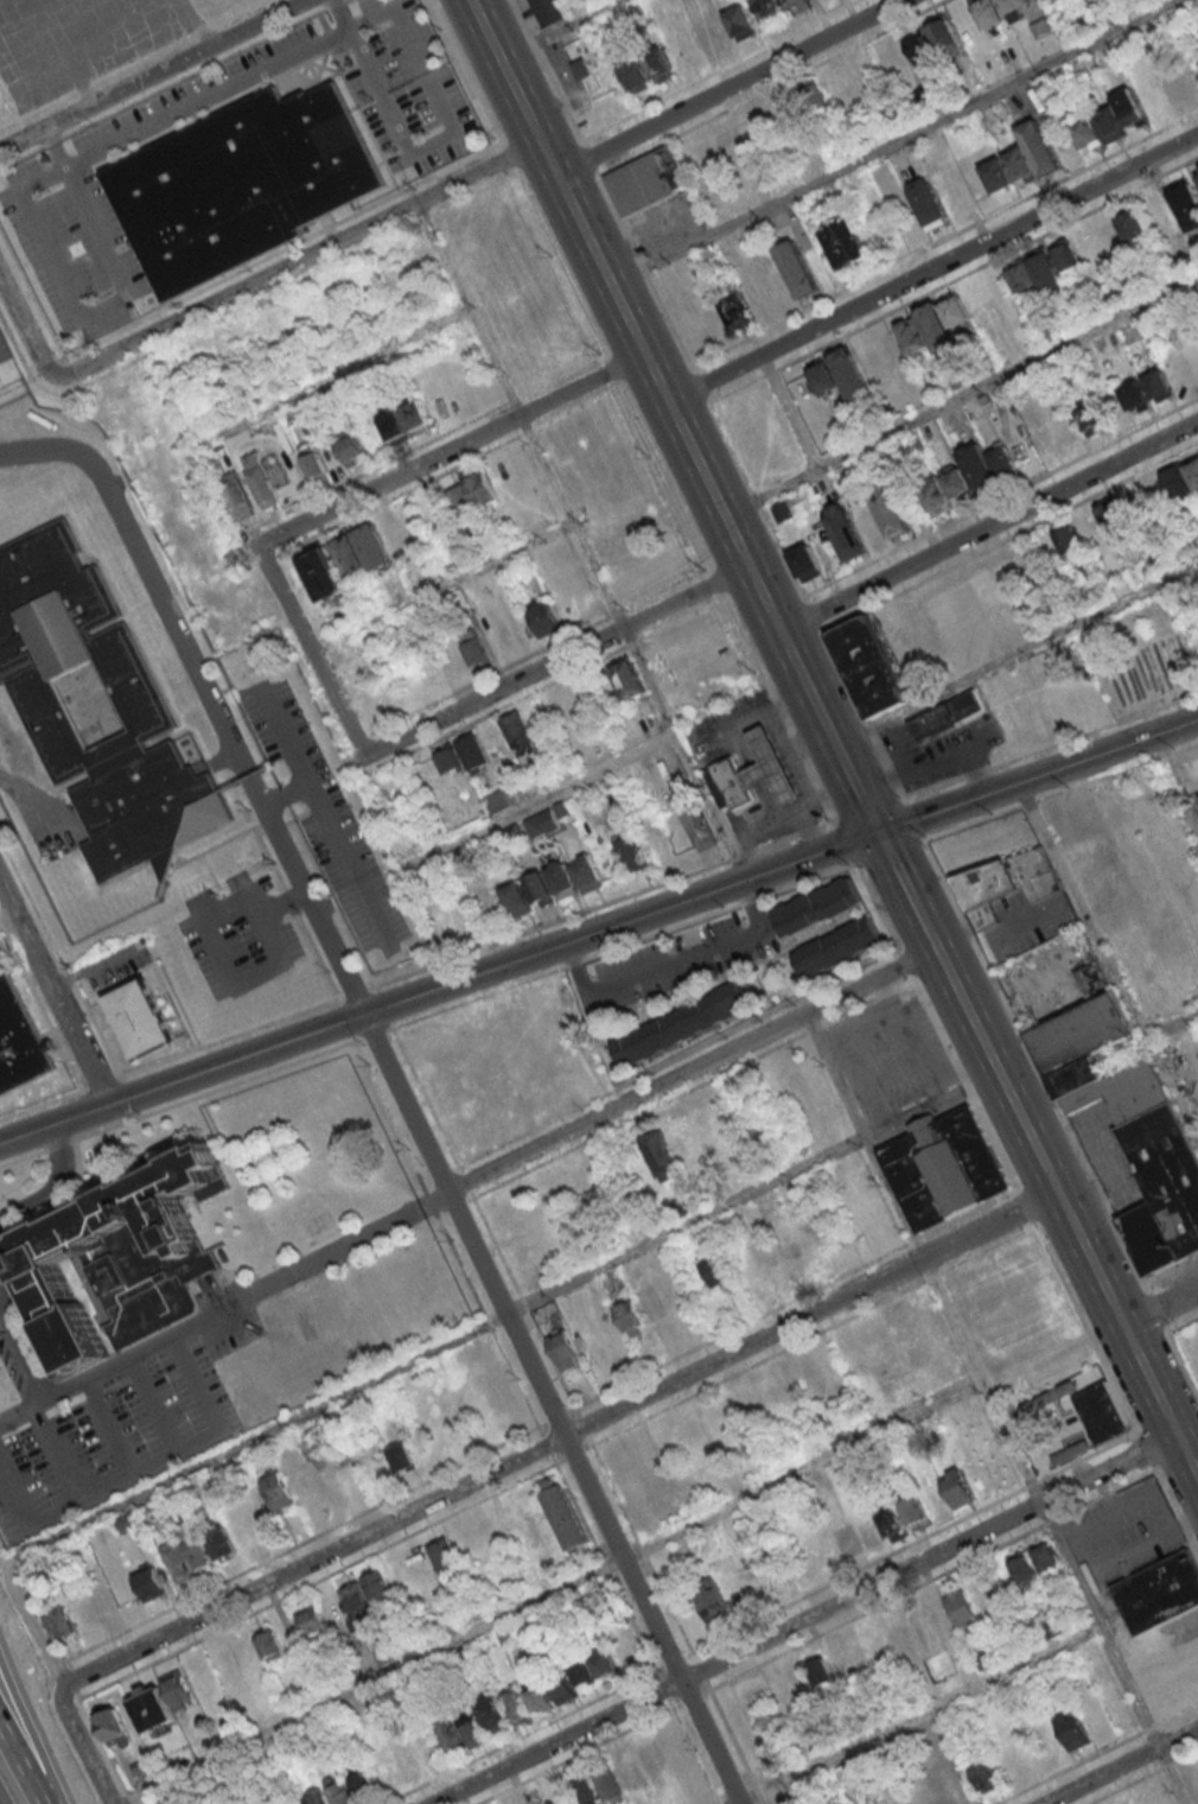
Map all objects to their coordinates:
building: (1052, 1)
building: (779, 7)
building: (1013, 8)
building: (549, 11)
building: (988, 13)
building: (741, 21)
road: (554, 28)
building: (943, 34)
building: (709, 38)
building: (920, 49)
building: (658, 65)
building: (581, 69)
building: (635, 72)
road: (152, 75)
road: (732, 89)
building: (1173, 90)
road: (223, 91)
building: (925, 93)
building: (815, 96)
building: (1109, 121)
building: (731, 140)
road: (892, 142)
building: (1021, 159)
building: (1197, 172)
building: (648, 180)
building: (238, 182)
building: (928, 203)
road: (87, 209)
building: (1121, 233)
building: (845, 241)
road: (298, 258)
building: (1068, 258)
building: (797, 268)
road: (936, 273)
building: (1035, 273)
building: (737, 312)
building: (943, 319)
building: (713, 322)
road: (28, 325)
building: (901, 343)
road: (350, 371)
building: (848, 371)
road: (658, 380)
building: (1158, 386)
road: (963, 395)
building: (1135, 398)
building: (415, 413)
building: (1090, 417)
building: (395, 425)
building: (1058, 434)
building: (351, 450)
building: (313, 462)
building: (988, 464)
road: (400, 474)
building: (1181, 479)
building: (956, 482)
building: (262, 485)
building: (479, 487)
building: (236, 495)
building: (936, 496)
building: (460, 502)
building: (783, 510)
building: (890, 510)
building: (1126, 515)
road: (992, 528)
building: (855, 531)
building: (1079, 534)
road: (581, 539)
building: (361, 550)
building: (807, 563)
building: (321, 573)
road: (147, 578)
road: (441, 583)
building: (543, 616)
building: (916, 617)
building: (897, 636)
building: (474, 646)
road: (1018, 655)
road: (758, 663)
building: (869, 666)
building: (630, 679)
road: (505, 686)
building: (561, 707)
building: (100, 709)
building: (950, 718)
building: (517, 731)
building: (464, 755)
building: (776, 770)
road: (1039, 776)
road: (1175, 783)
building: (733, 787)
road: (550, 795)
road: (289, 796)
road: (862, 798)
building: (499, 800)
road: (318, 808)
road: (867, 809)
road: (298, 817)
parking lot: (330, 818)
road: (333, 819)
road: (916, 820)
road: (265, 821)
building: (543, 822)
road: (280, 825)
building: (700, 825)
traffic signals: (880, 833)
road: (221, 843)
road: (842, 844)
building: (632, 852)
road: (893, 857)
road: (270, 858)
road: (899, 872)
building: (588, 874)
road: (212, 875)
building: (562, 879)
building: (1005, 883)
building: (541, 889)
road: (291, 900)
building: (517, 900)
road: (32, 901)
road: (227, 901)
road: (282, 903)
road: (604, 904)
road: (878, 904)
building: (822, 910)
road: (8, 917)
road: (1020, 921)
parking lot: (1026, 921)
road: (2, 925)
road: (950, 927)
road: (208, 929)
road: (268, 929)
parking lot: (236, 936)
road: (624, 947)
building: (839, 947)
road: (319, 957)
road: (1109, 961)
parking lot: (680, 963)
road: (97, 971)
road: (157, 972)
road: (262, 974)
road: (71, 976)
road: (84, 976)
road: (371, 985)
road: (89, 986)
road: (377, 987)
road: (440, 989)
road: (53, 990)
road: (356, 992)
road: (385, 1006)
road: (45, 1010)
building: (142, 1017)
road: (349, 1019)
building: (688, 1022)
road: (393, 1025)
road: (1172, 1025)
road: (390, 1028)
road: (100, 1029)
building: (1081, 1031)
road: (376, 1033)
road: (231, 1037)
road: (357, 1037)
road: (362, 1038)
building: (21, 1044)
road: (680, 1075)
building: (1077, 1075)
road: (102, 1081)
road: (215, 1090)
building: (1127, 1094)
road: (44, 1104)
road: (1062, 1118)
road: (59, 1144)
building: (662, 1155)
road: (23, 1157)
building: (948, 1173)
road: (62, 1181)
building: (1164, 1192)
road: (1058, 1196)
road: (60, 1199)
building: (684, 1205)
road: (6, 1218)
road: (1049, 1251)
building: (125, 1260)
road: (299, 1271)
building: (715, 1271)
building: (611, 1278)
road: (497, 1289)
road: (0, 1297)
building: (651, 1303)
road: (1160, 1307)
road: (23, 1313)
building: (630, 1317)
road: (24, 1348)
building: (565, 1349)
road: (130, 1357)
road: (375, 1379)
road: (196, 1384)
road: (59, 1385)
road: (44, 1399)
road: (154, 1404)
road: (995, 1409)
building: (1104, 1417)
road: (110, 1423)
parking lot: (114, 1429)
road: (554, 1443)
road: (58, 1453)
building: (402, 1457)
road: (123, 1480)
road: (138, 1480)
building: (957, 1488)
building: (276, 1491)
road: (13, 1500)
building: (915, 1512)
building: (562, 1514)
building: (128, 1522)
building: (867, 1533)
parking lot: (1122, 1533)
building: (219, 1542)
building: (197, 1552)
building: (444, 1555)
building: (1046, 1556)
building: (177, 1561)
building: (1022, 1569)
building: (149, 1583)
building: (1159, 1592)
building: (368, 1595)
road: (548, 1596)
building: (712, 1601)
building: (961, 1606)
building: (311, 1619)
road: (803, 1620)
building: (58, 1621)
building: (1049, 1627)
building: (268, 1644)
building: (604, 1662)
building: (581, 1671)
building: (820, 1671)
building: (561, 1687)
building: (539, 1697)
building: (160, 1702)
road: (17, 1704)
building: (504, 1710)
road: (915, 1713)
building: (114, 1728)
building: (1072, 1730)
building: (458, 1732)
road: (84, 1751)
road: (1098, 1754)
road: (1122, 1766)
road: (19, 1768)
building: (142, 1770)
building: (629, 1771)
road: (43, 1776)
building: (986, 1776)
road: (1146, 1778)
building: (607, 1783)
building: (362, 1785)
building: (585, 1790)
building: (339, 1792)
building: (316, 1797)

